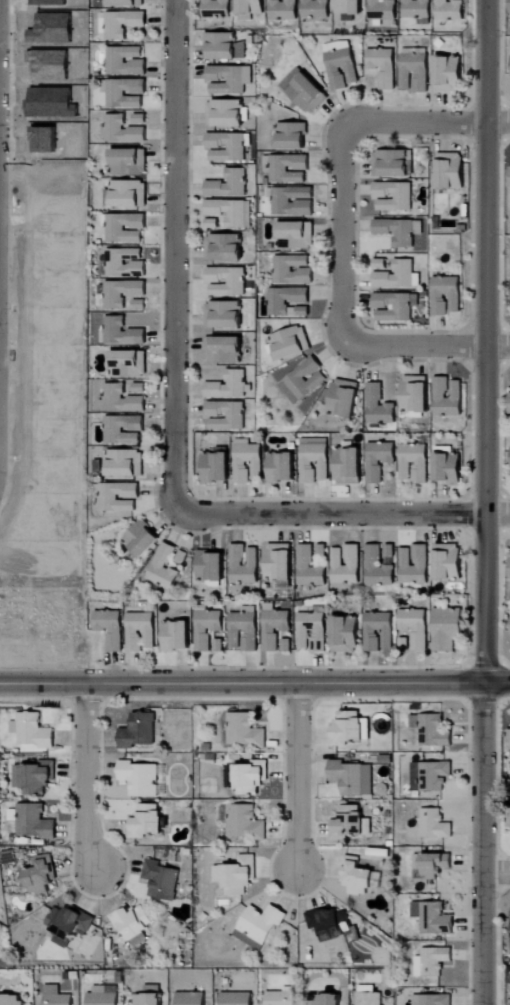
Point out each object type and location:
building: (127, 3)
building: (217, 7)
building: (250, 9)
building: (284, 9)
building: (316, 9)
building: (350, 9)
building: (383, 10)
building: (451, 10)
building: (418, 11)
building: (123, 24)
building: (226, 47)
building: (127, 61)
building: (342, 65)
building: (384, 66)
building: (416, 73)
building: (451, 75)
building: (230, 80)
building: (306, 92)
building: (125, 93)
building: (226, 114)
building: (141, 119)
road: (442, 123)
building: (123, 131)
building: (293, 136)
building: (227, 147)
building: (130, 163)
building: (393, 164)
building: (287, 169)
building: (452, 171)
building: (230, 185)
building: (130, 194)
building: (395, 197)
building: (285, 204)
building: (232, 213)
building: (213, 224)
building: (127, 228)
building: (400, 231)
building: (299, 234)
road: (342, 234)
road: (175, 241)
building: (225, 248)
building: (125, 262)
building: (381, 264)
building: (293, 270)
building: (398, 276)
building: (227, 282)
building: (123, 293)
building: (448, 296)
building: (289, 302)
building: (140, 305)
building: (395, 307)
building: (225, 315)
building: (123, 333)
road: (487, 341)
building: (292, 343)
road: (441, 346)
building: (225, 351)
building: (130, 365)
building: (304, 382)
building: (230, 386)
building: (140, 389)
building: (417, 396)
building: (449, 398)
building: (346, 399)
building: (123, 400)
building: (379, 407)
building: (228, 416)
building: (125, 430)
building: (316, 461)
building: (381, 461)
building: (249, 462)
building: (127, 464)
building: (416, 464)
building: (351, 467)
building: (219, 468)
building: (284, 469)
building: (451, 469)
building: (120, 498)
road: (334, 515)
building: (143, 539)
building: (323, 551)
building: (389, 552)
building: (450, 563)
building: (245, 565)
building: (282, 565)
building: (347, 565)
building: (415, 565)
building: (212, 567)
building: (164, 568)
building: (311, 569)
building: (379, 569)
building: (276, 627)
building: (417, 628)
building: (112, 629)
building: (209, 629)
building: (449, 629)
building: (246, 630)
building: (314, 631)
building: (142, 632)
building: (380, 632)
building: (348, 635)
building: (180, 637)
building: (220, 646)
building: (288, 646)
road: (254, 683)
building: (349, 728)
building: (33, 730)
building: (245, 730)
building: (433, 730)
building: (140, 731)
building: (509, 731)
building: (434, 775)
building: (35, 777)
building: (252, 777)
road: (85, 778)
building: (141, 778)
road: (296, 778)
building: (353, 778)
building: (148, 821)
building: (509, 821)
building: (245, 822)
building: (349, 822)
building: (435, 824)
road: (482, 844)
building: (431, 865)
road: (496, 873)
building: (42, 874)
building: (238, 875)
building: (359, 877)
building: (163, 880)
building: (434, 917)
building: (134, 923)
building: (262, 923)
building: (333, 926)
building: (509, 936)
building: (433, 961)
building: (57, 996)
building: (152, 996)
building: (102, 997)
building: (283, 997)
building: (192, 999)
building: (238, 999)
building: (329, 999)
building: (370, 999)
building: (433, 999)
building: (11, 1000)

